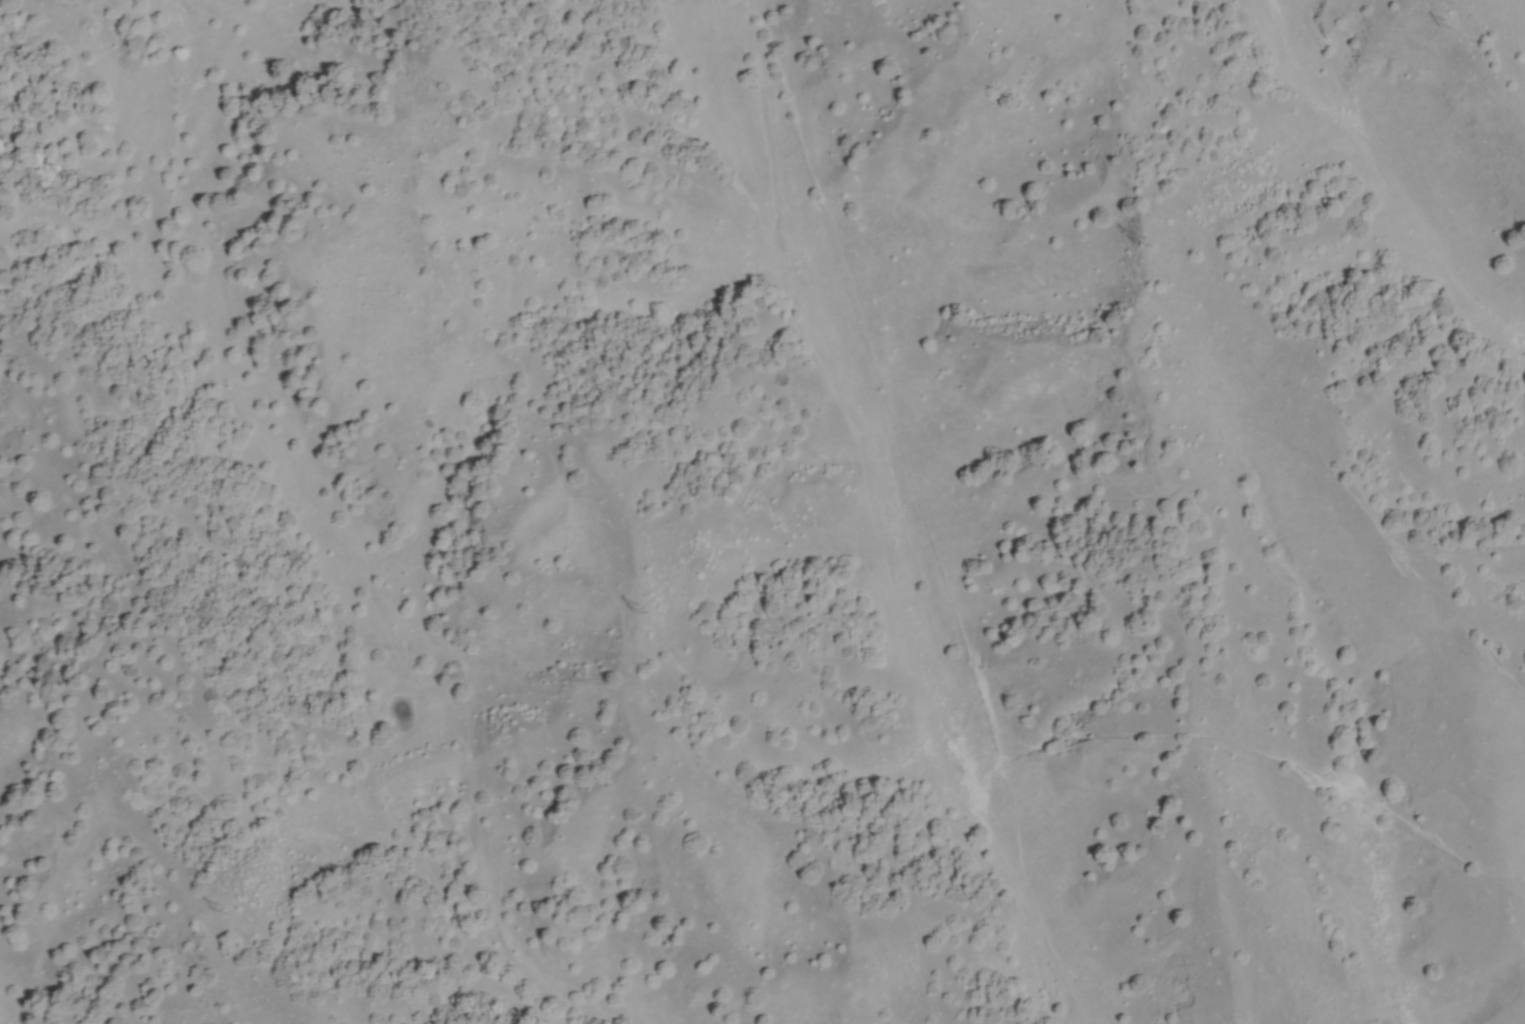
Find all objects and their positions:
power tower: (1453, 27)
power tower: (1154, 244)
power tower: (646, 613)
power tower: (229, 914)

